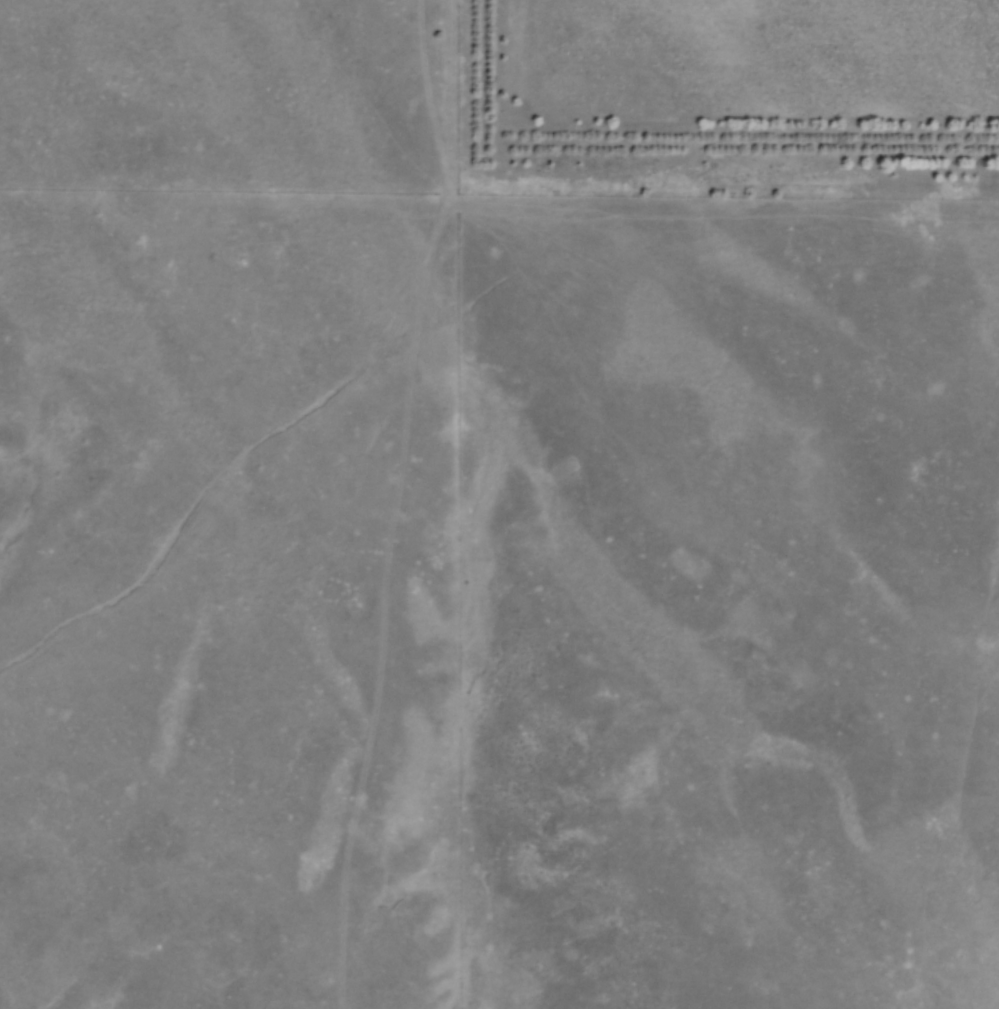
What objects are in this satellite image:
crop: (759, 57)

